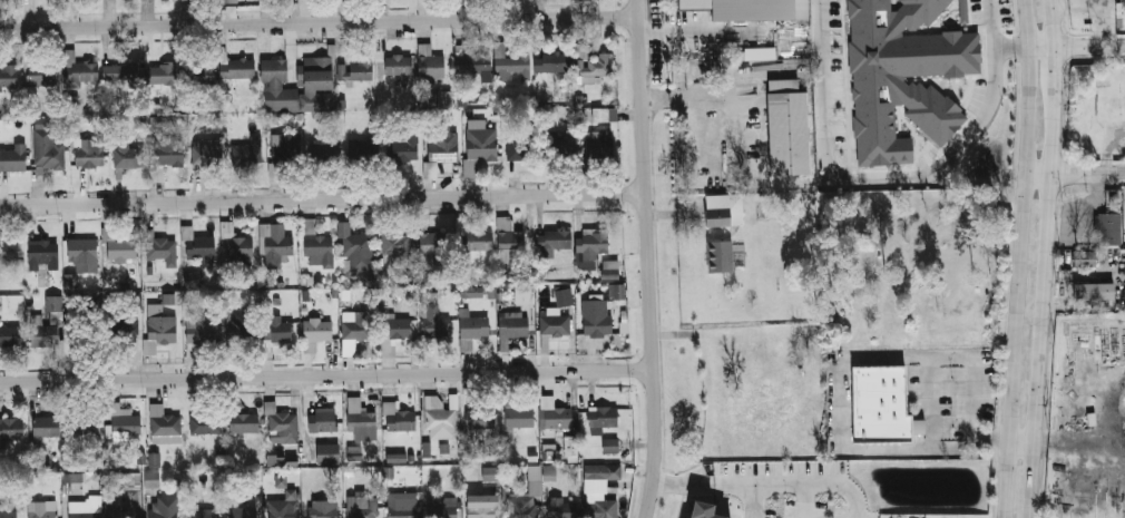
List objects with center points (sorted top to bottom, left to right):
building: (229, 0)
building: (756, 7)
building: (966, 8)
road: (317, 21)
road: (676, 30)
building: (795, 37)
road: (991, 42)
road: (1077, 46)
building: (472, 60)
building: (551, 61)
building: (429, 62)
building: (510, 63)
building: (594, 63)
building: (398, 65)
building: (237, 68)
building: (355, 69)
building: (77, 71)
building: (120, 71)
building: (907, 72)
building: (40, 75)
building: (156, 75)
building: (203, 75)
building: (8, 76)
building: (317, 84)
building: (277, 87)
road: (707, 96)
building: (443, 98)
building: (605, 114)
building: (163, 120)
building: (790, 125)
building: (564, 143)
building: (598, 143)
building: (443, 147)
building: (479, 148)
building: (48, 149)
building: (285, 149)
building: (364, 149)
building: (403, 149)
building: (521, 149)
building: (324, 150)
building: (247, 152)
building: (90, 153)
building: (127, 153)
building: (211, 153)
building: (165, 157)
building: (12, 158)
road: (1074, 174)
road: (869, 180)
road: (322, 198)
building: (725, 209)
building: (1108, 227)
building: (558, 238)
building: (471, 241)
building: (509, 241)
building: (593, 243)
building: (397, 245)
building: (434, 247)
building: (120, 248)
building: (200, 248)
building: (162, 250)
building: (9, 251)
building: (238, 251)
building: (277, 251)
building: (319, 251)
building: (358, 252)
building: (42, 254)
building: (721, 256)
road: (648, 258)
road: (1018, 258)
road: (1051, 258)
building: (1085, 258)
building: (84, 260)
building: (609, 268)
building: (368, 278)
building: (193, 280)
building: (616, 291)
building: (1094, 291)
building: (524, 294)
building: (565, 297)
building: (55, 303)
building: (596, 317)
building: (433, 322)
building: (554, 324)
building: (513, 325)
building: (395, 328)
building: (163, 329)
building: (200, 329)
building: (86, 330)
building: (471, 330)
building: (127, 331)
building: (351, 331)
building: (275, 332)
building: (315, 332)
building: (239, 333)
building: (45, 334)
building: (9, 335)
road: (326, 375)
road: (844, 380)
building: (881, 401)
building: (554, 413)
building: (519, 417)
building: (603, 417)
building: (479, 418)
building: (398, 419)
building: (321, 420)
building: (360, 420)
building: (125, 422)
building: (243, 423)
building: (441, 423)
building: (918, 423)
building: (205, 424)
building: (164, 426)
building: (11, 428)
building: (47, 428)
building: (282, 428)
building: (90, 430)
road: (1024, 442)
building: (609, 443)
building: (551, 452)
building: (326, 453)
building: (140, 458)
building: (154, 459)
building: (275, 461)
building: (490, 472)
building: (549, 472)
building: (72, 477)
building: (151, 479)
building: (280, 480)
road: (684, 480)
road: (798, 480)
building: (599, 490)
building: (526, 496)
road: (752, 499)
road: (804, 499)
building: (283, 505)
building: (361, 506)
building: (401, 506)
building: (481, 506)
building: (85, 507)
building: (128, 507)
building: (164, 508)
building: (441, 508)
building: (561, 508)
building: (42, 509)
building: (242, 510)
building: (322, 511)
building: (701, 511)
building: (202, 512)
building: (8, 514)

